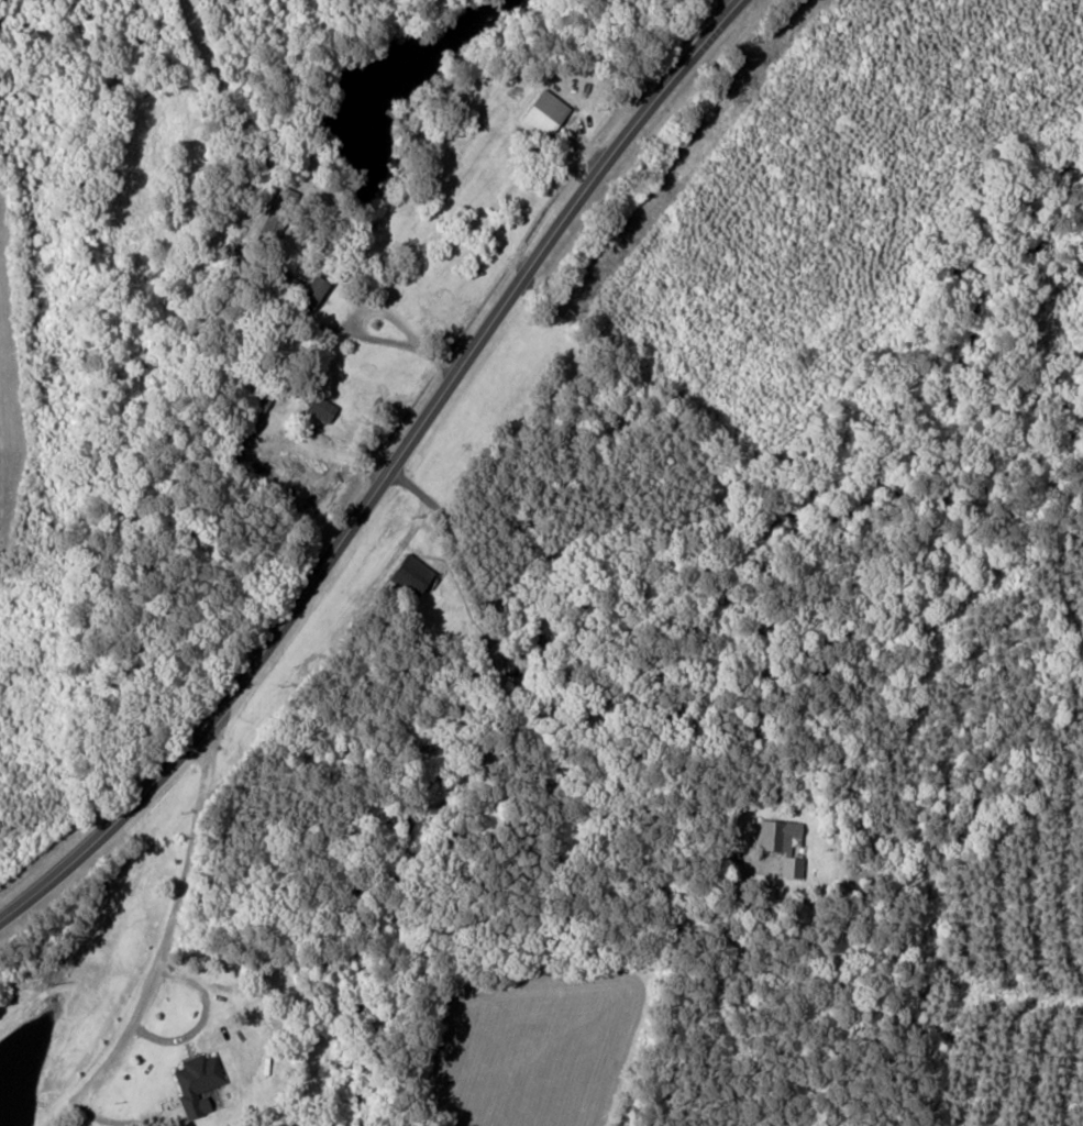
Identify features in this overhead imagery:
building: (541, 113)
building: (318, 407)
road: (385, 473)
building: (408, 571)
building: (778, 846)
road: (164, 947)
building: (195, 1081)

